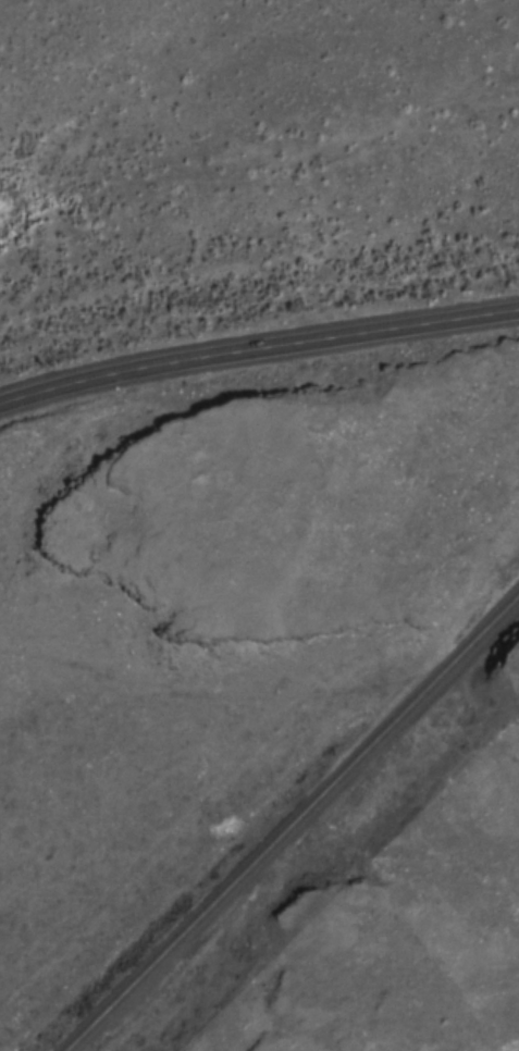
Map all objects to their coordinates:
road: (258, 348)
railway: (302, 826)

